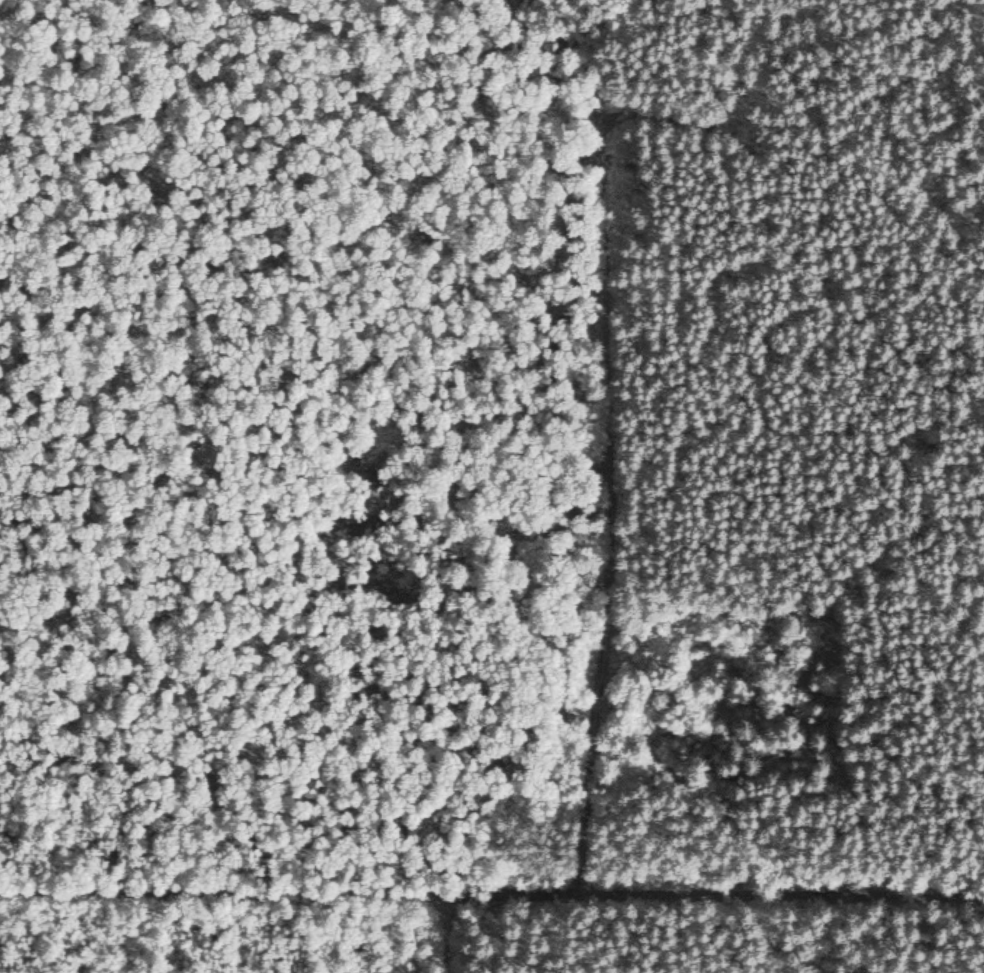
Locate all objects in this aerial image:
road: (604, 544)
road: (492, 894)
road: (433, 934)

